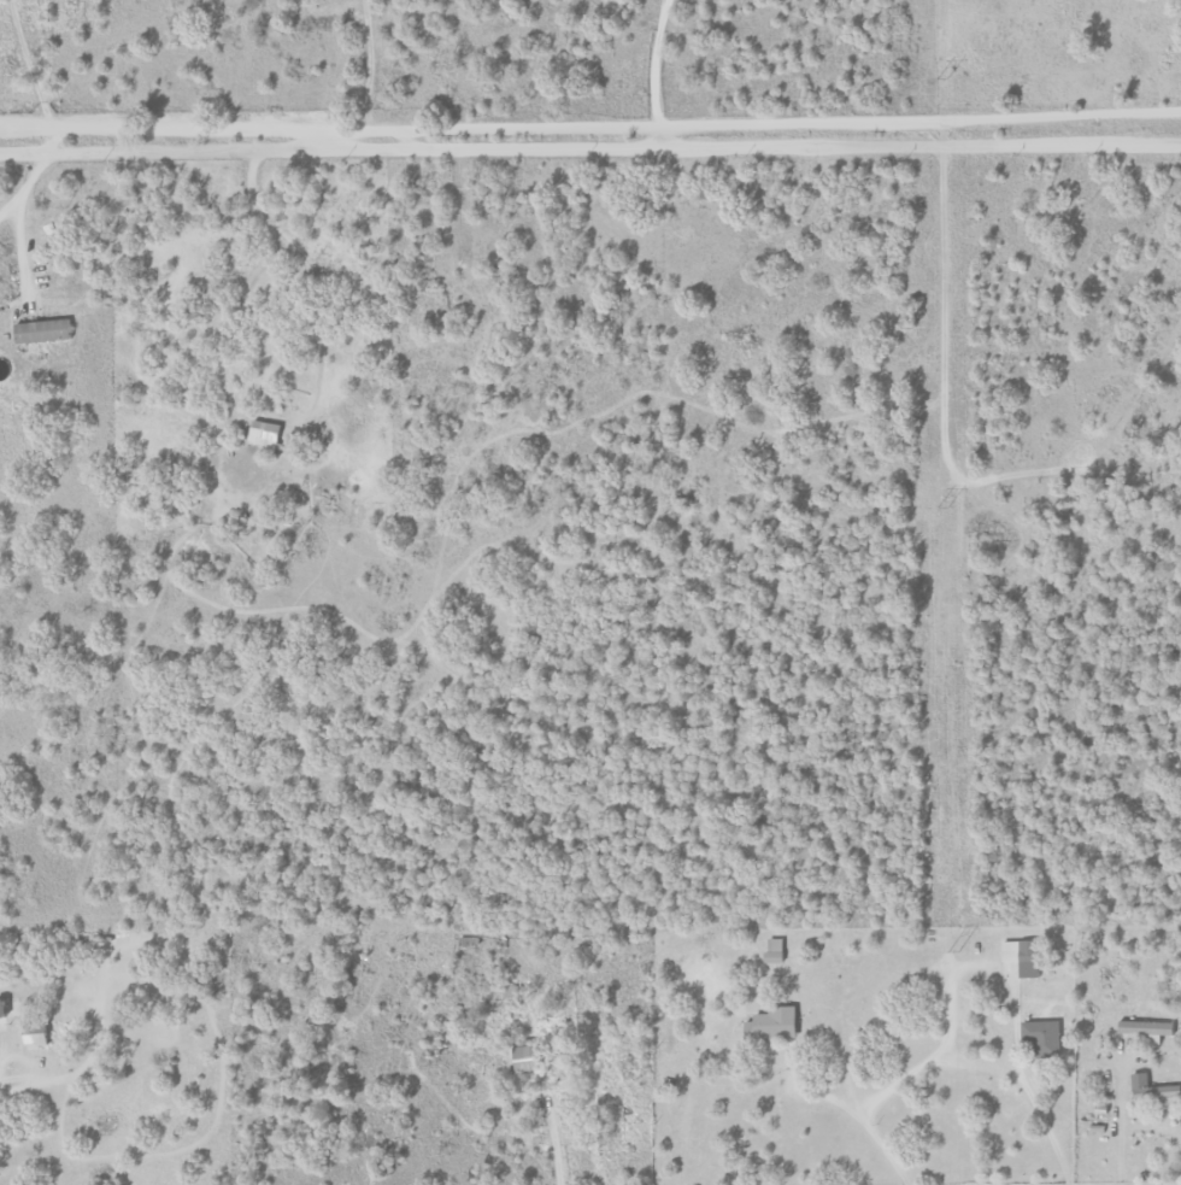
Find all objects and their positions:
road: (647, 63)
road: (28, 65)
power tower: (942, 77)
road: (918, 119)
road: (27, 128)
road: (354, 129)
road: (590, 146)
road: (41, 174)
road: (12, 206)
road: (24, 259)
building: (45, 332)
building: (266, 435)
power tower: (942, 508)
building: (771, 950)
power tower: (953, 952)
building: (1020, 956)
road: (994, 969)
building: (4, 1008)
building: (769, 1023)
building: (1145, 1028)
building: (1038, 1034)
building: (40, 1037)
building: (522, 1056)
road: (976, 1063)
building: (1150, 1090)
road: (1150, 1122)
road: (864, 1124)
road: (1117, 1127)
road: (551, 1139)

